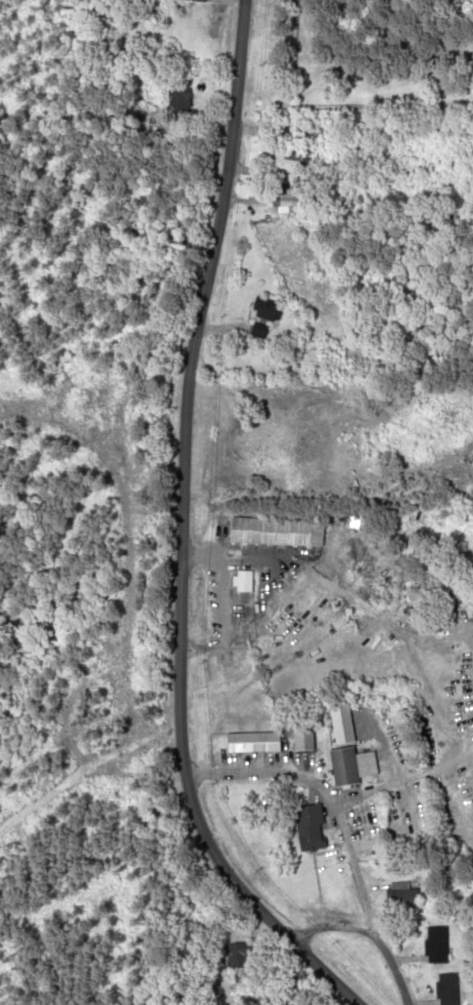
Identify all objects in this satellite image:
building: (201, 0)
building: (181, 103)
building: (293, 166)
building: (341, 200)
building: (295, 202)
building: (268, 317)
road: (192, 361)
building: (280, 531)
building: (246, 587)
building: (256, 741)
building: (354, 765)
road: (330, 793)
building: (312, 827)
road: (234, 885)
building: (405, 895)
road: (369, 933)
building: (438, 944)
building: (239, 955)
building: (450, 989)
building: (192, 998)

